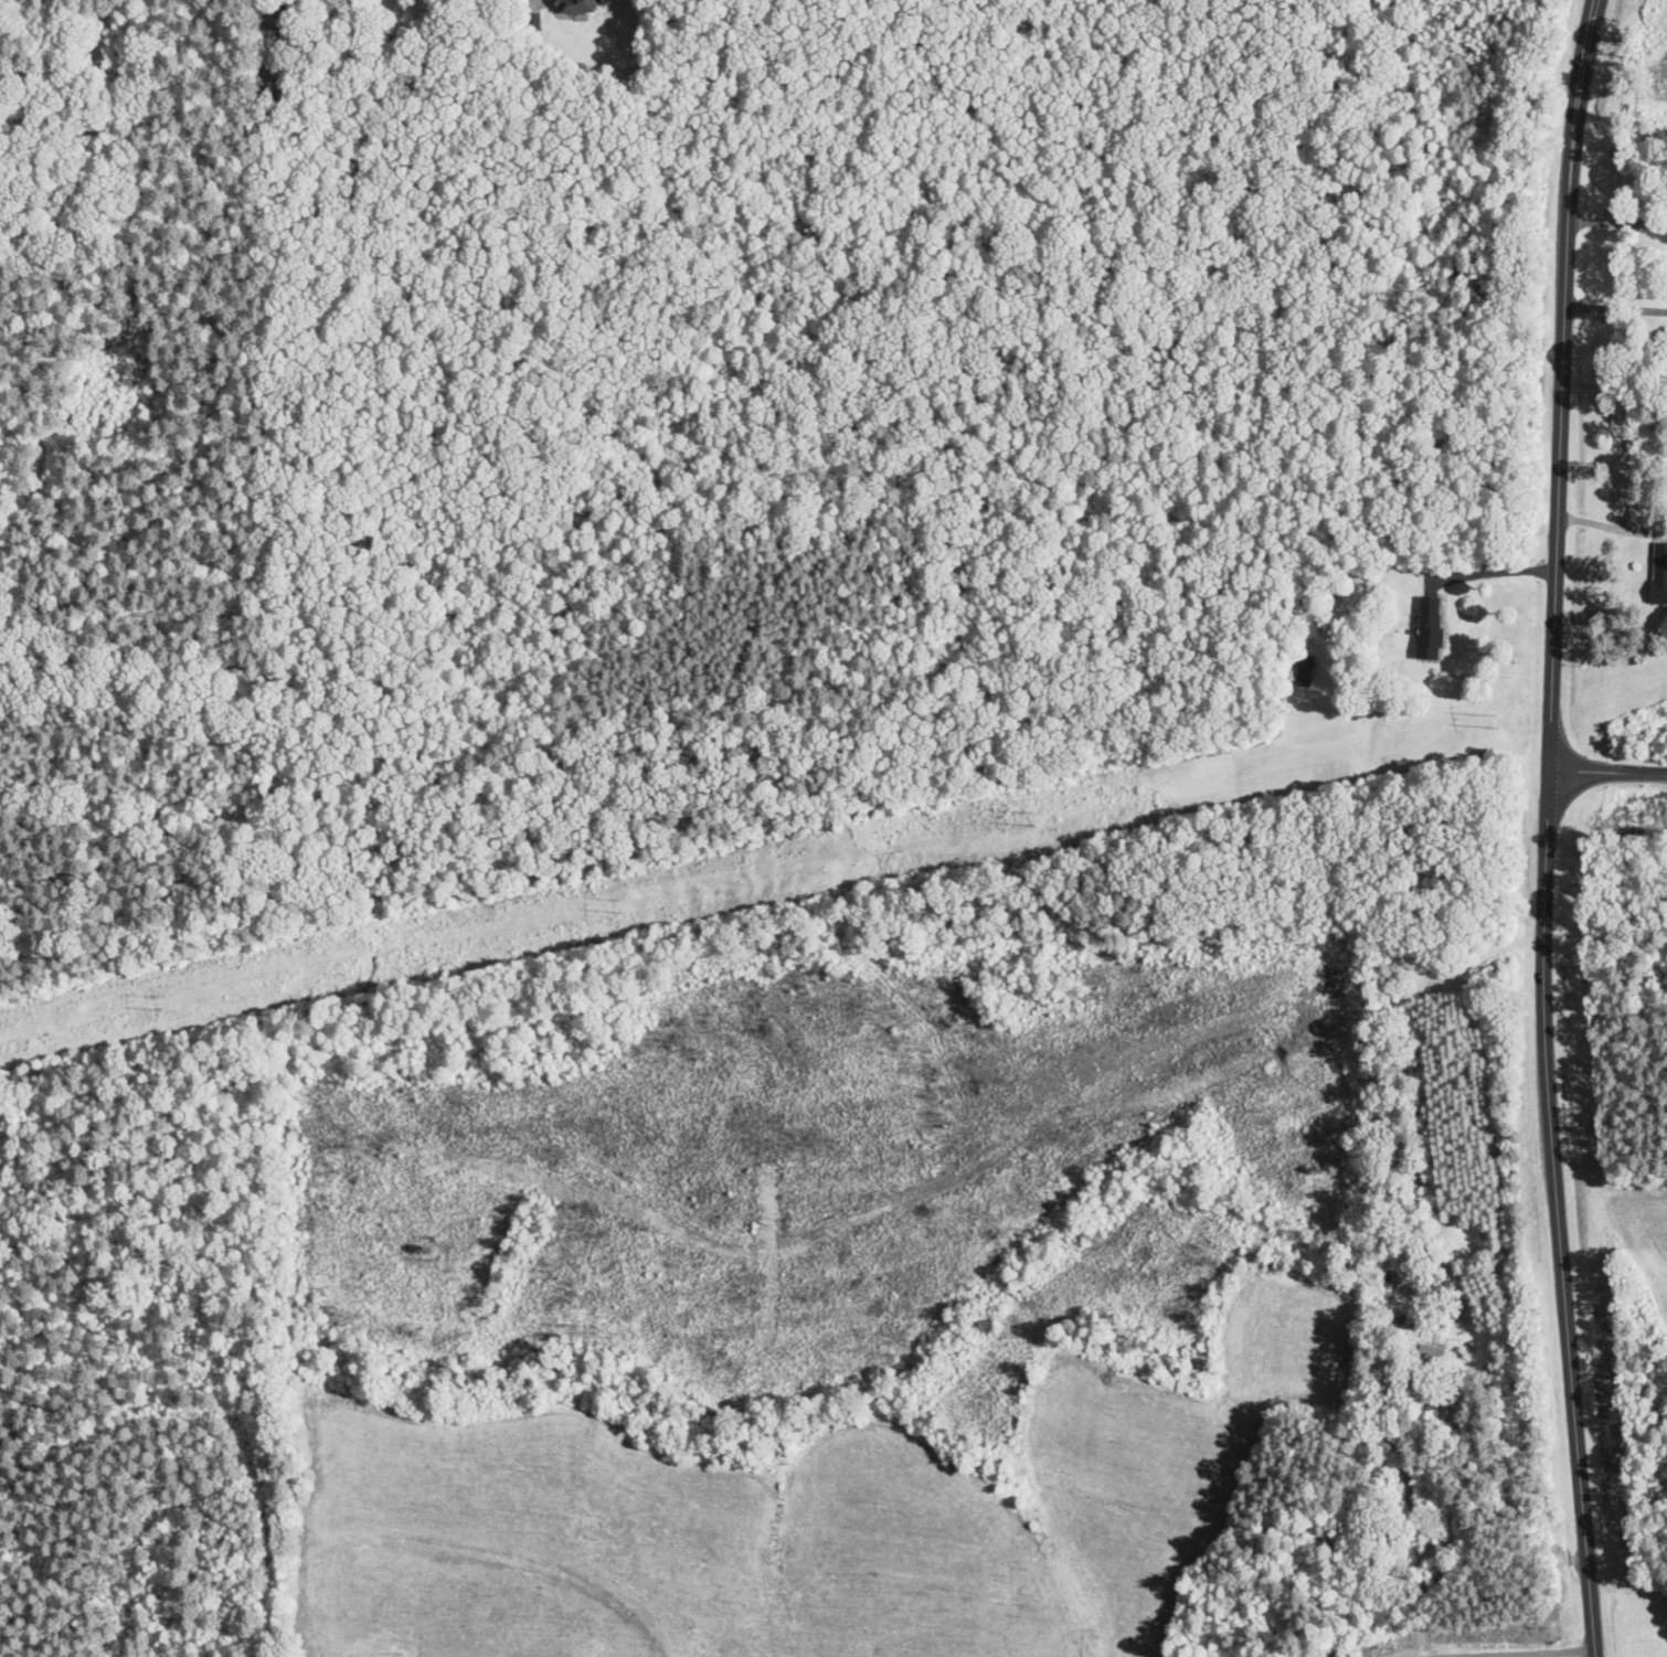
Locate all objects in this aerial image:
building: (577, 7)
road: (1563, 384)
building: (1659, 575)
building: (1431, 629)
building: (1300, 672)
power tower: (1496, 721)
road: (1608, 772)
power tower: (1039, 822)
power tower: (623, 907)
power tower: (161, 1002)
road: (1558, 1214)
building: (1432, 1350)

